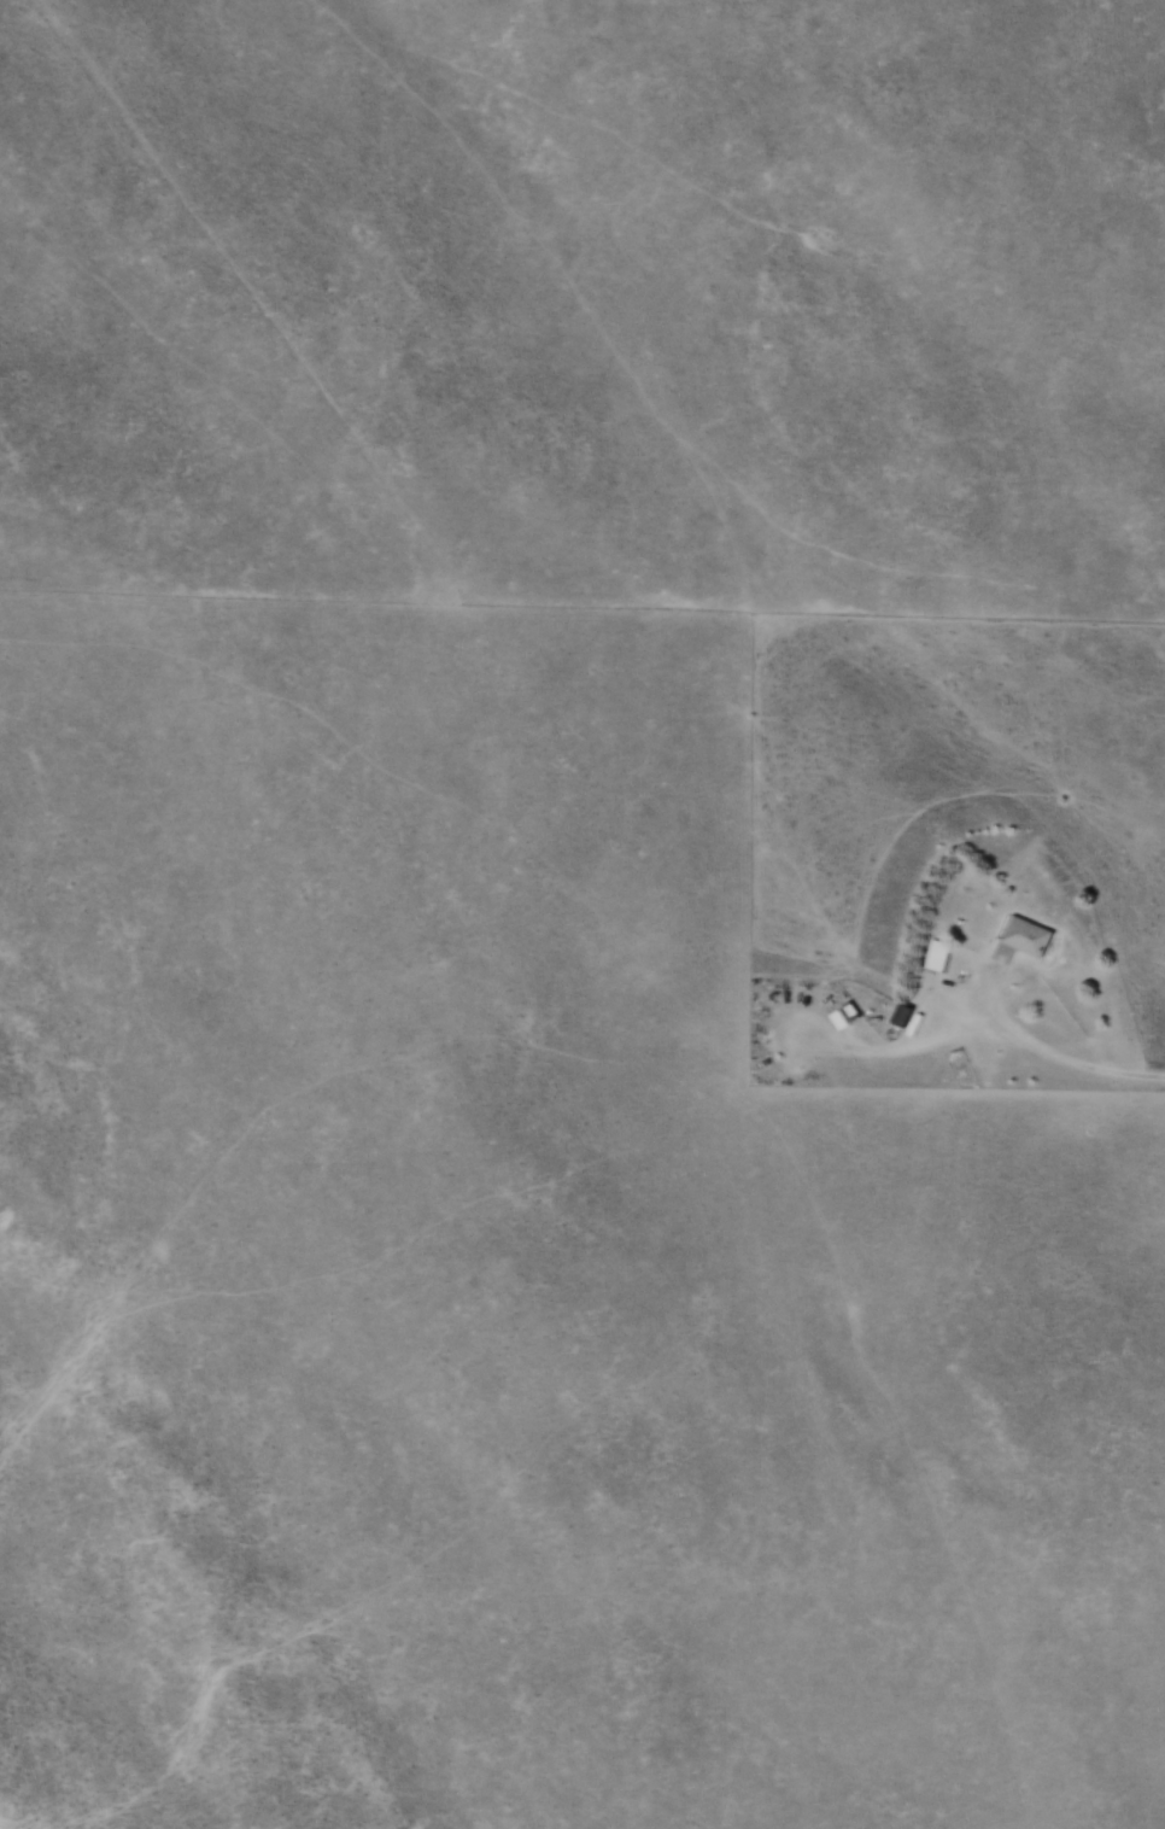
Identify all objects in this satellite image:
building: (1029, 936)
building: (937, 959)
building: (898, 1010)
road: (1036, 1047)

